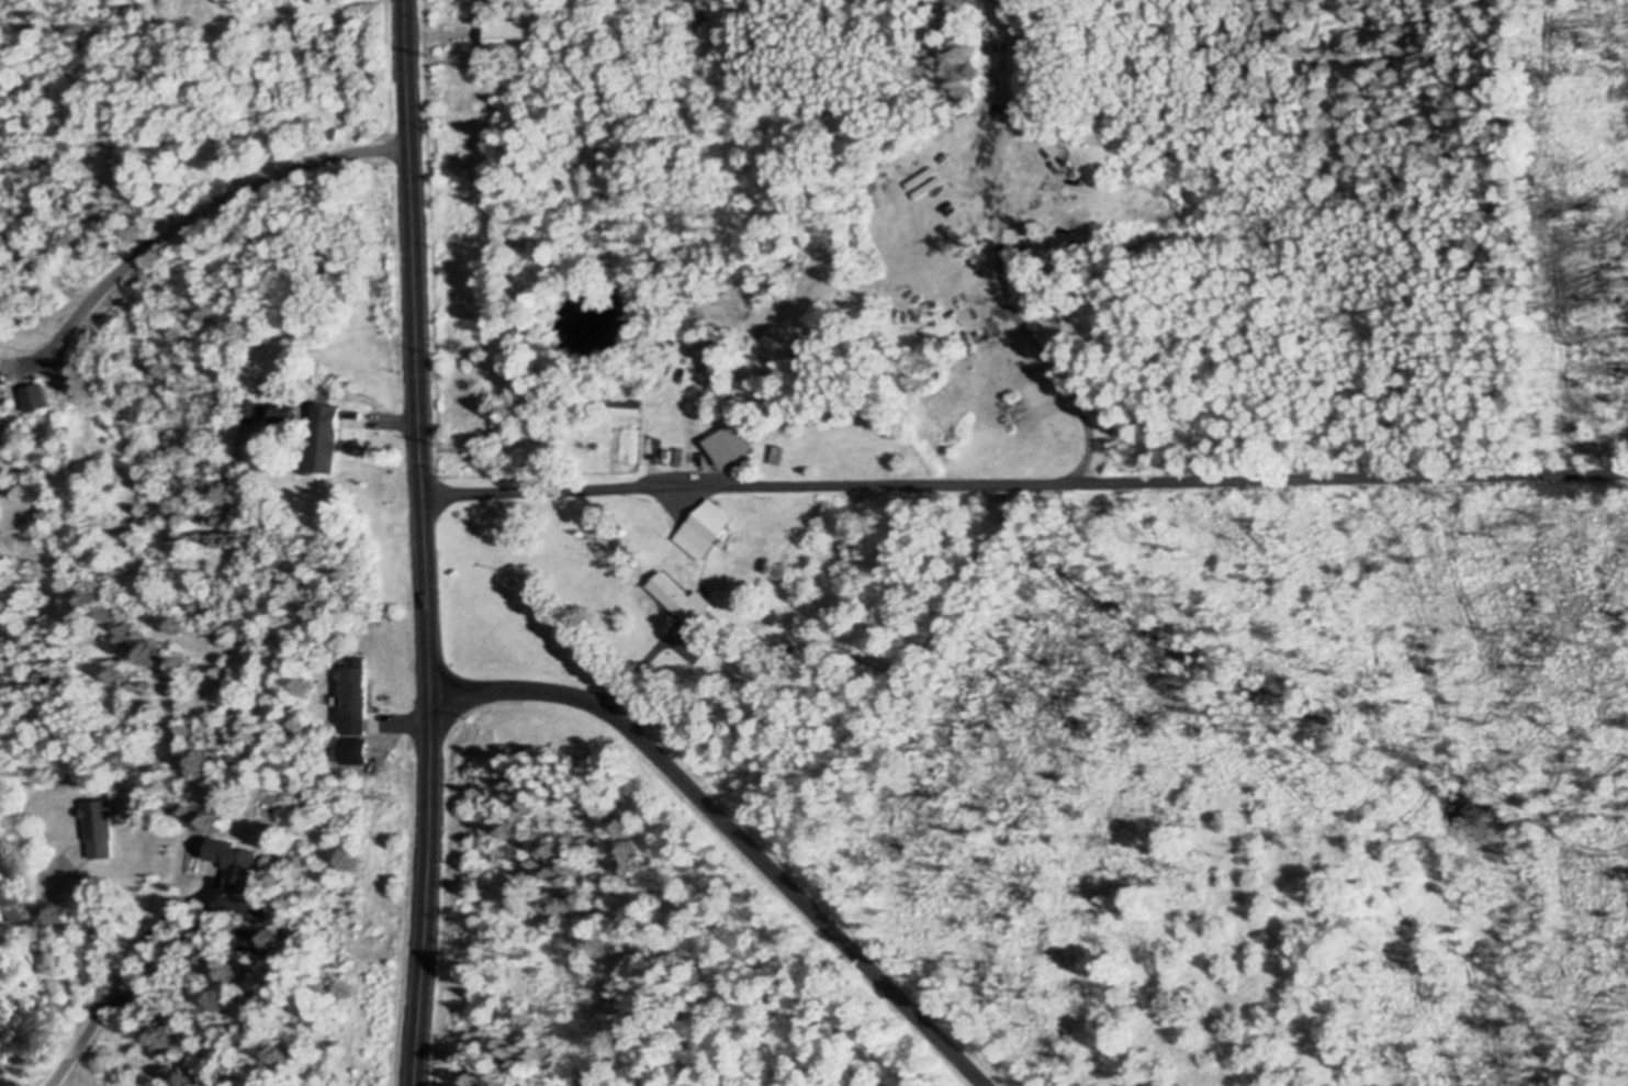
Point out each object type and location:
building: (515, 35)
road: (206, 206)
road: (1018, 317)
building: (2, 373)
building: (37, 395)
building: (628, 405)
building: (290, 416)
road: (392, 422)
building: (326, 438)
building: (734, 443)
road: (1025, 483)
building: (710, 527)
road: (426, 542)
building: (687, 597)
road: (639, 670)
building: (360, 701)
building: (101, 827)
road: (737, 831)
building: (235, 863)
road: (206, 896)
building: (251, 939)
road: (76, 1043)

